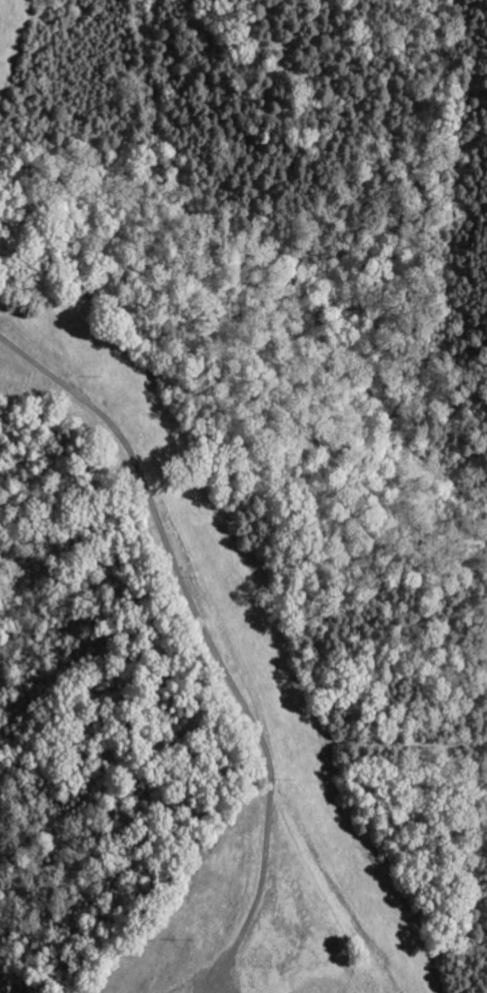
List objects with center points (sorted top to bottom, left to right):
road: (235, 622)

